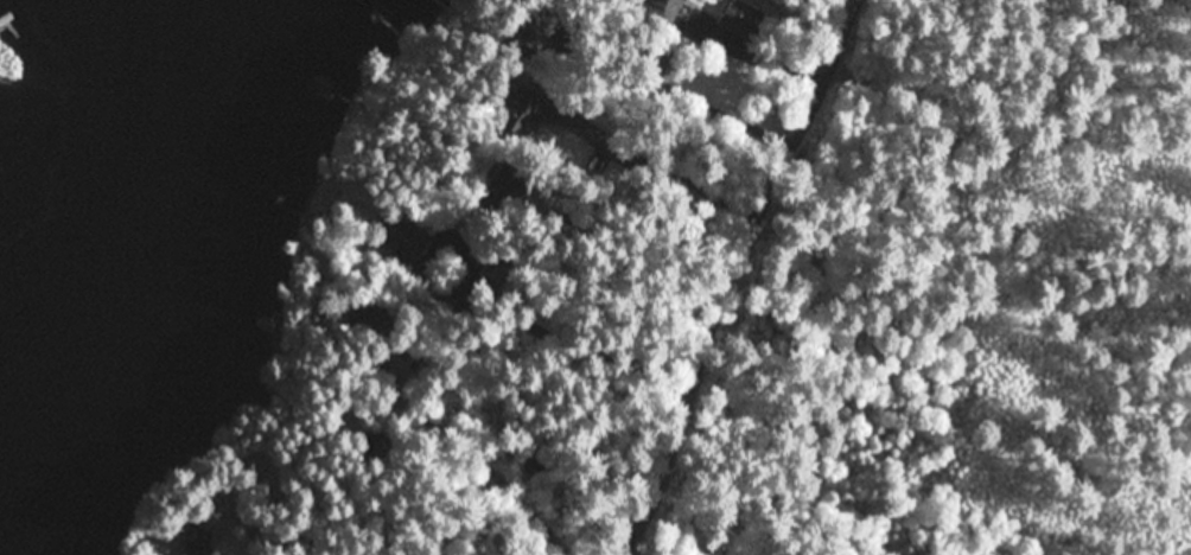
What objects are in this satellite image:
building: (667, 8)
building: (745, 17)
building: (529, 24)
building: (662, 64)
building: (565, 128)
building: (617, 178)
building: (493, 189)
river: (135, 199)
building: (403, 237)
building: (490, 285)
road: (725, 305)
building: (376, 323)
building: (375, 362)
building: (384, 441)
building: (247, 452)
road: (504, 466)
building: (250, 522)
building: (198, 537)

